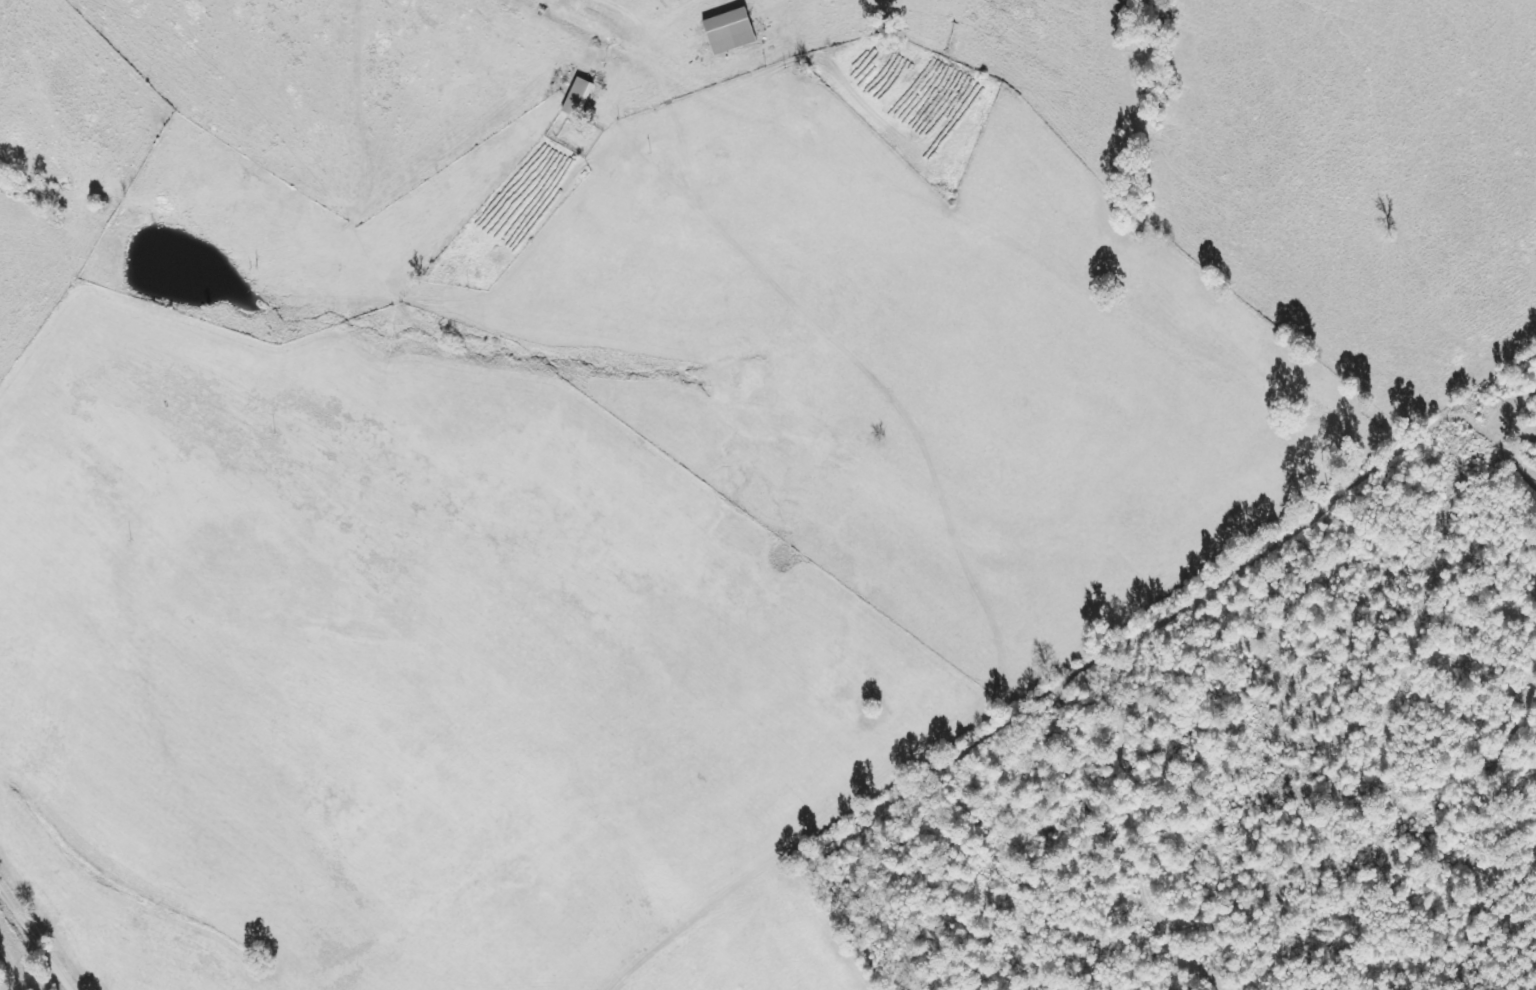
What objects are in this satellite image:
road: (626, 16)
building: (727, 32)
building: (575, 99)
road: (30, 946)

